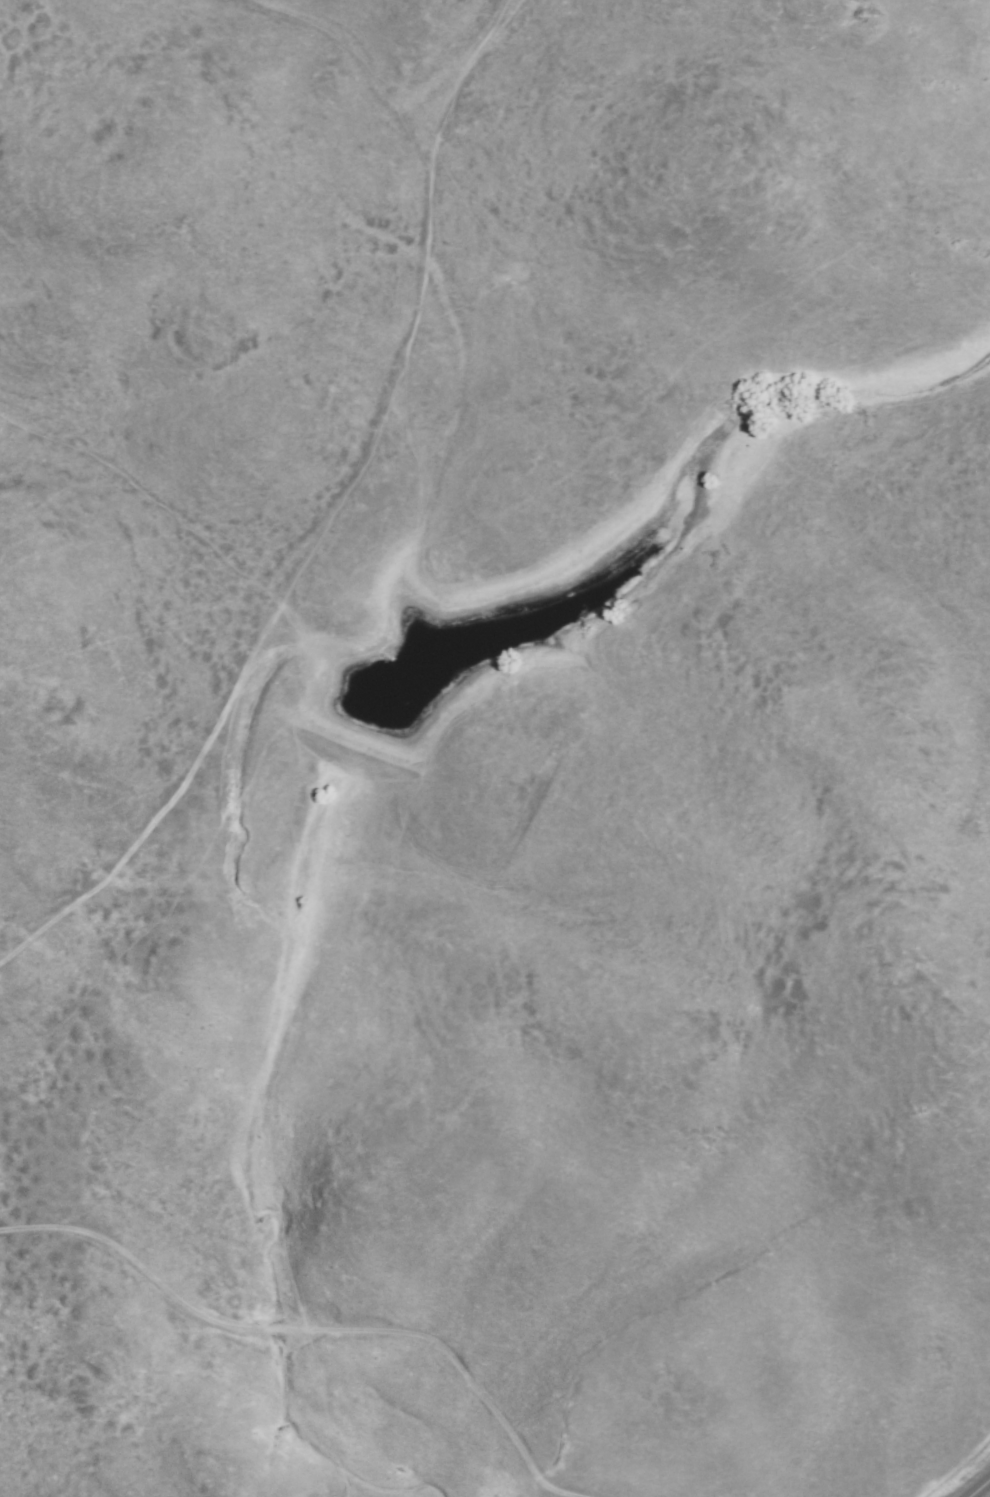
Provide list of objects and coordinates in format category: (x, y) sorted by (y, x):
road: (978, 1487)

